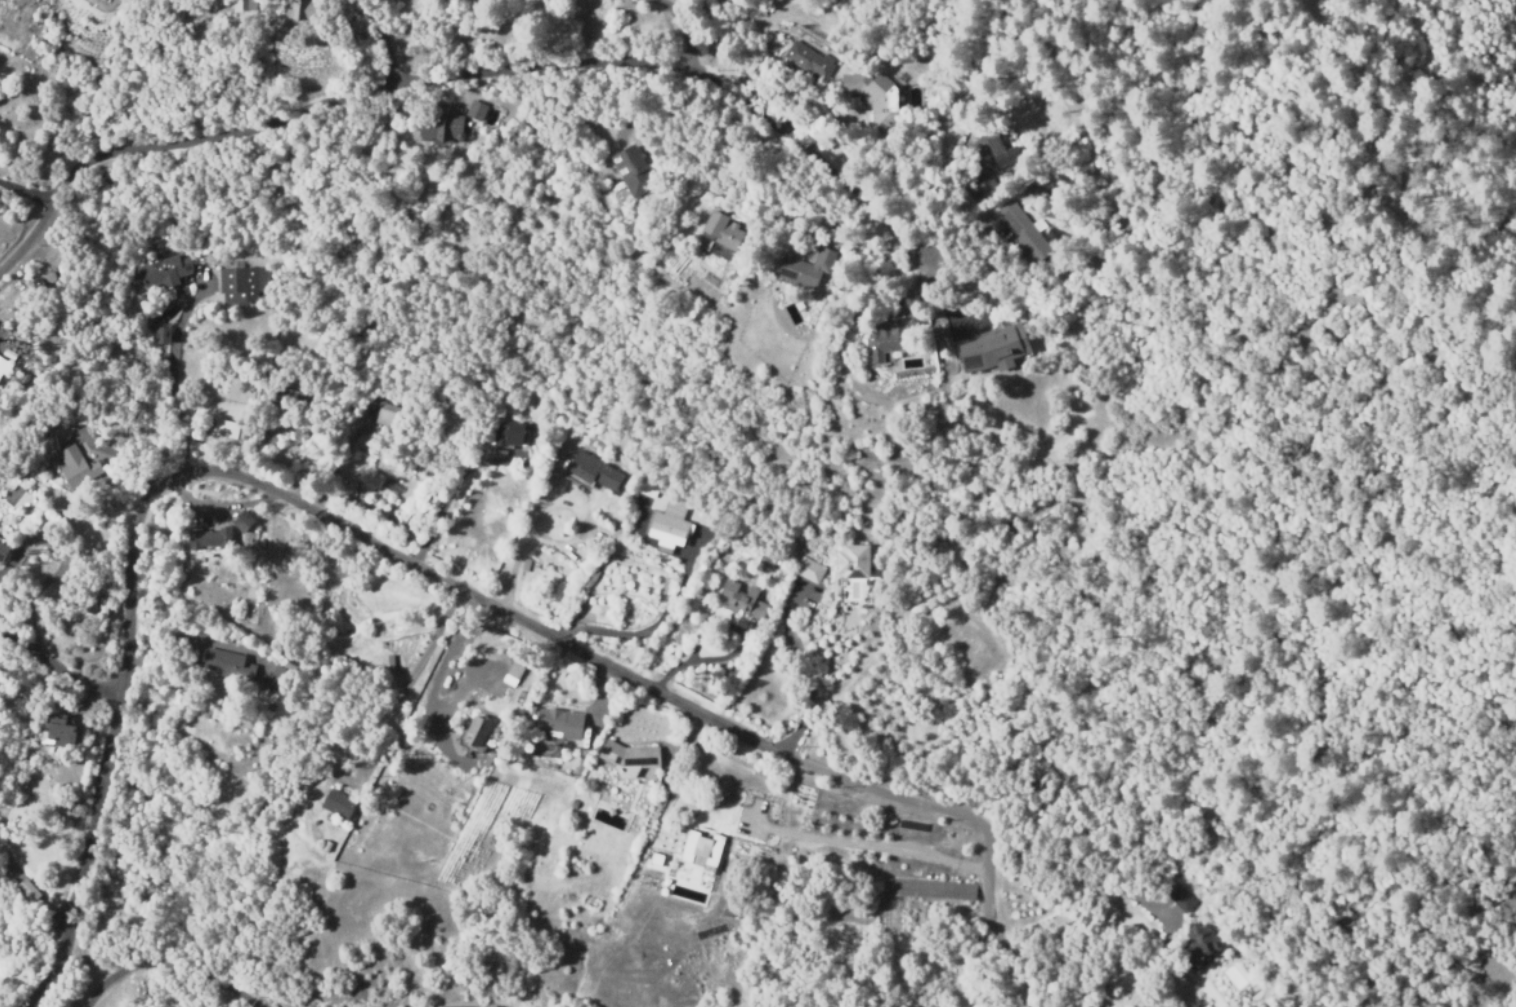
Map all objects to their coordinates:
building: (244, 5)
building: (300, 13)
building: (17, 17)
road: (382, 35)
building: (809, 59)
road: (462, 72)
building: (876, 99)
building: (476, 111)
building: (441, 126)
building: (1003, 149)
building: (632, 170)
building: (984, 187)
road: (30, 193)
building: (723, 229)
building: (1023, 231)
building: (807, 268)
building: (162, 271)
building: (243, 284)
building: (161, 333)
building: (887, 339)
building: (993, 350)
building: (4, 366)
road: (173, 370)
building: (291, 397)
building: (388, 416)
building: (225, 428)
building: (508, 434)
road: (337, 457)
building: (79, 466)
building: (595, 470)
building: (646, 488)
road: (452, 493)
building: (670, 523)
building: (222, 534)
building: (2, 548)
road: (412, 556)
building: (767, 560)
building: (856, 561)
building: (808, 568)
building: (805, 589)
building: (250, 594)
building: (743, 599)
building: (229, 665)
road: (55, 666)
building: (385, 667)
building: (515, 670)
road: (412, 675)
building: (279, 677)
building: (561, 723)
building: (58, 729)
building: (477, 731)
building: (630, 757)
building: (339, 804)
building: (312, 817)
building: (327, 846)
building: (655, 856)
building: (929, 889)
building: (28, 890)
building: (1177, 897)
building: (1070, 925)
building: (1201, 940)
road: (175, 968)
road: (440, 1006)

